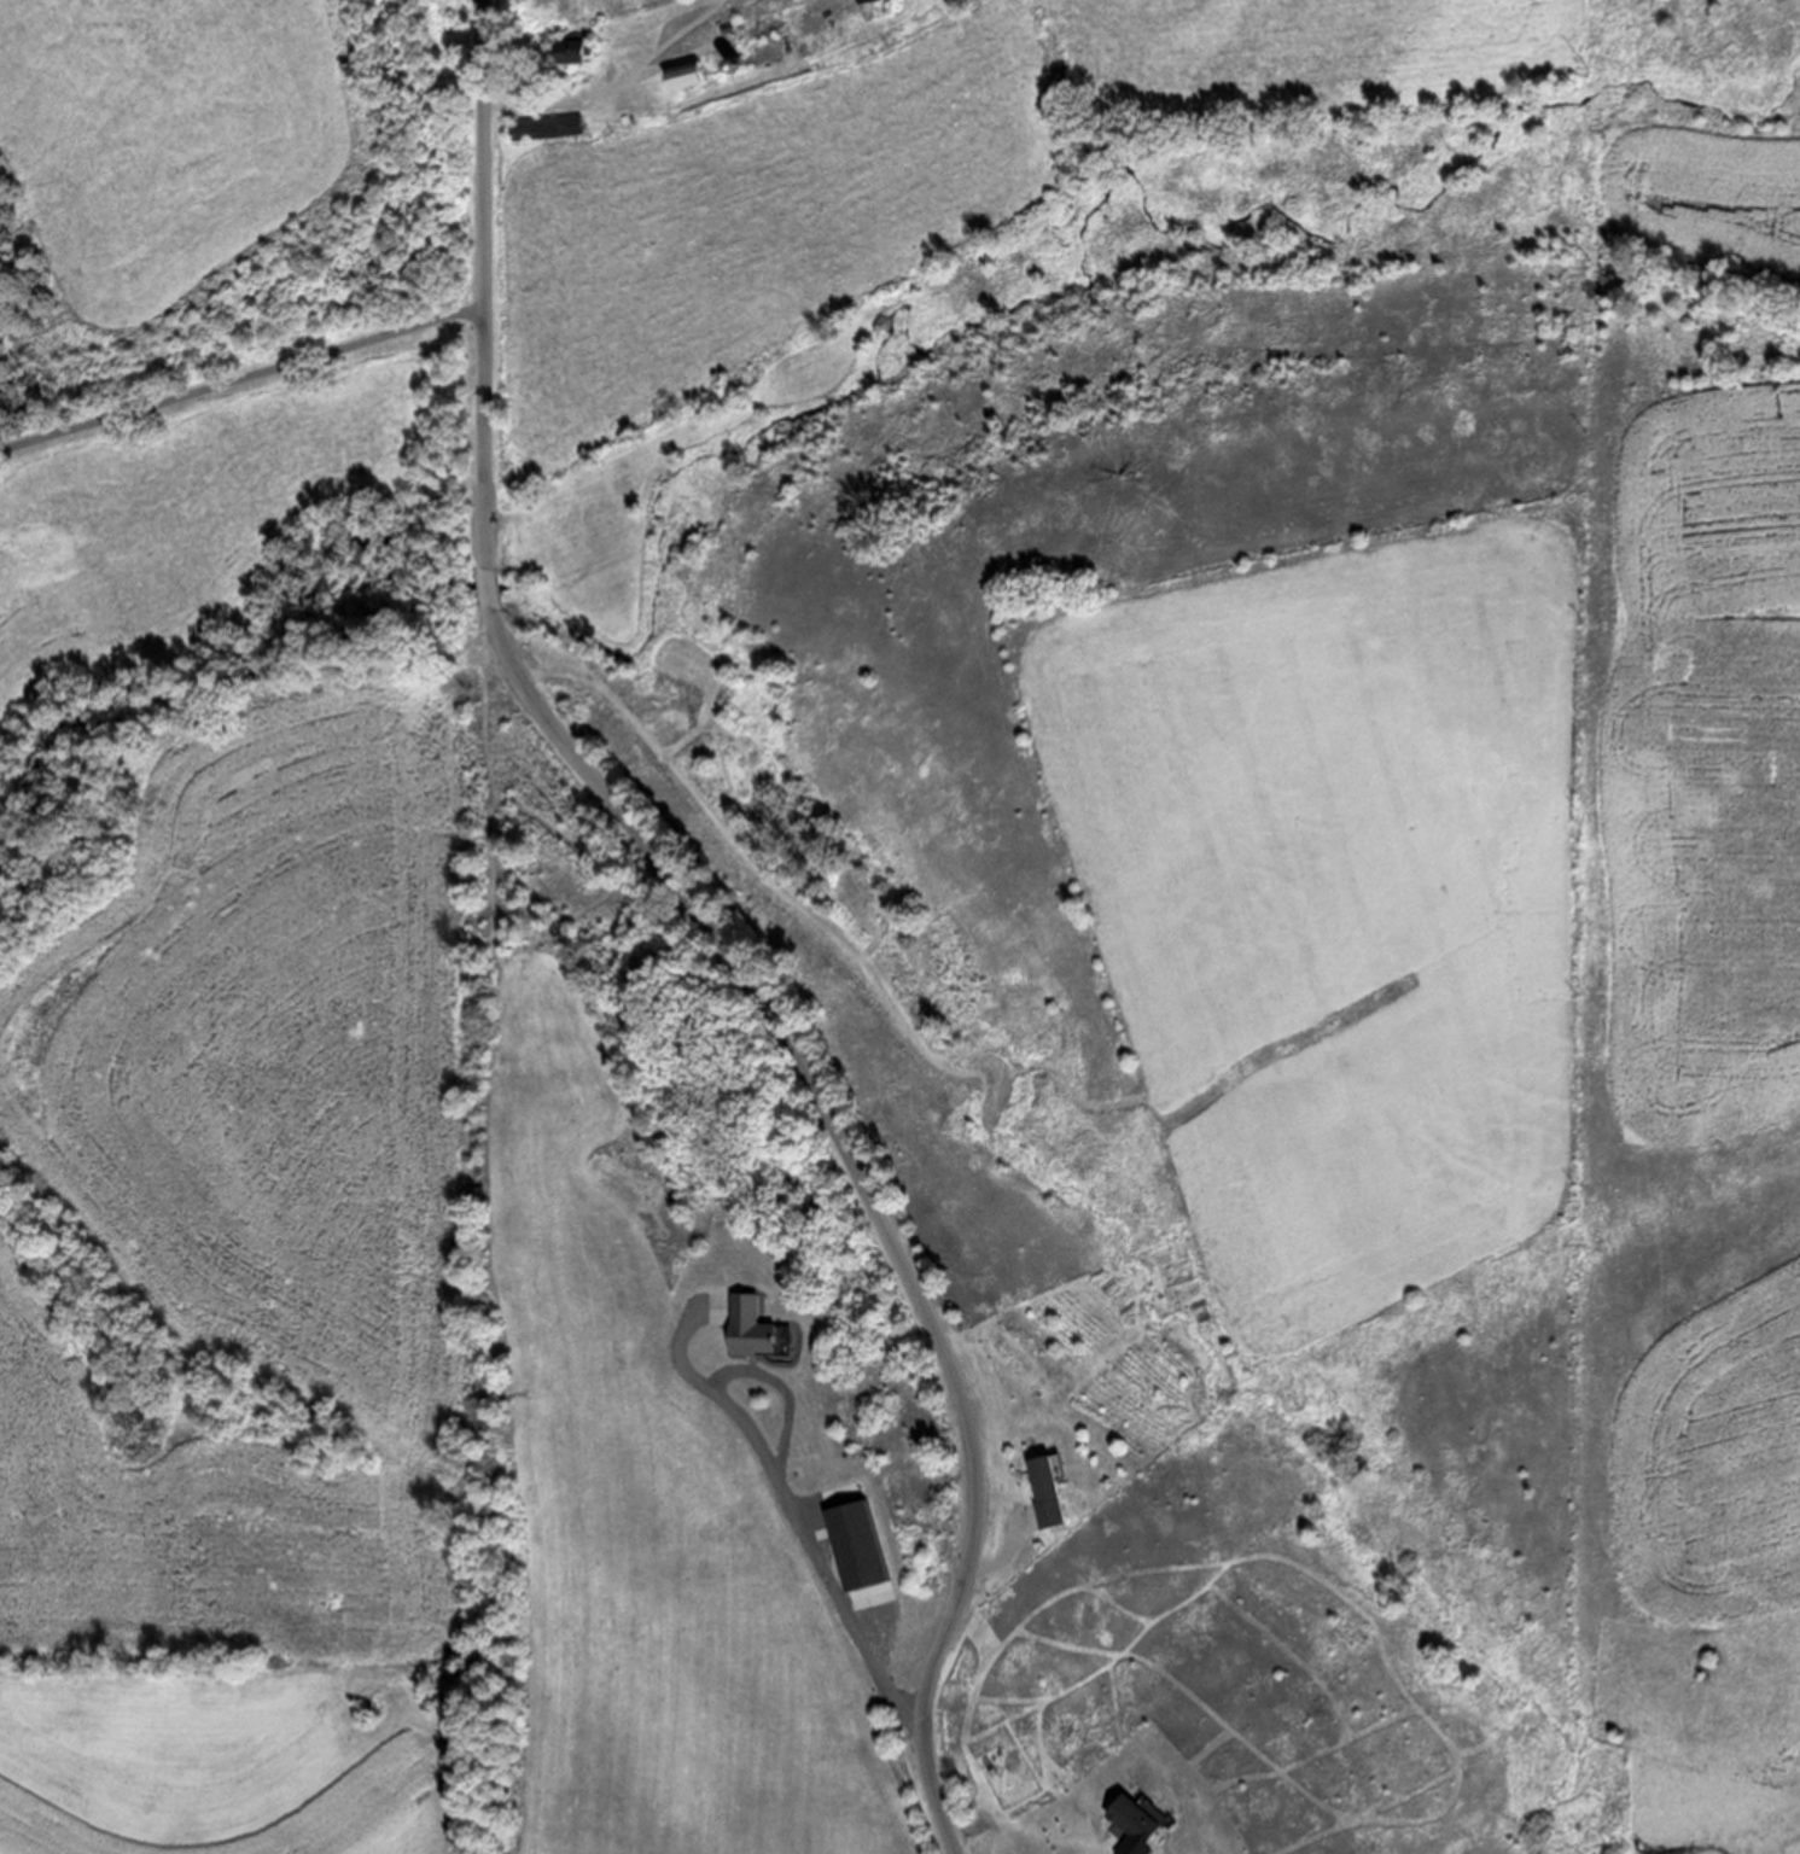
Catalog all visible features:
building: (862, 0)
building: (575, 47)
building: (687, 76)
road: (569, 100)
building: (546, 127)
road: (488, 284)
road: (244, 379)
road: (488, 588)
road: (864, 1191)
building: (1044, 1492)
building: (857, 1545)
road: (1003, 1553)
road: (887, 1679)
building: (1131, 1825)

